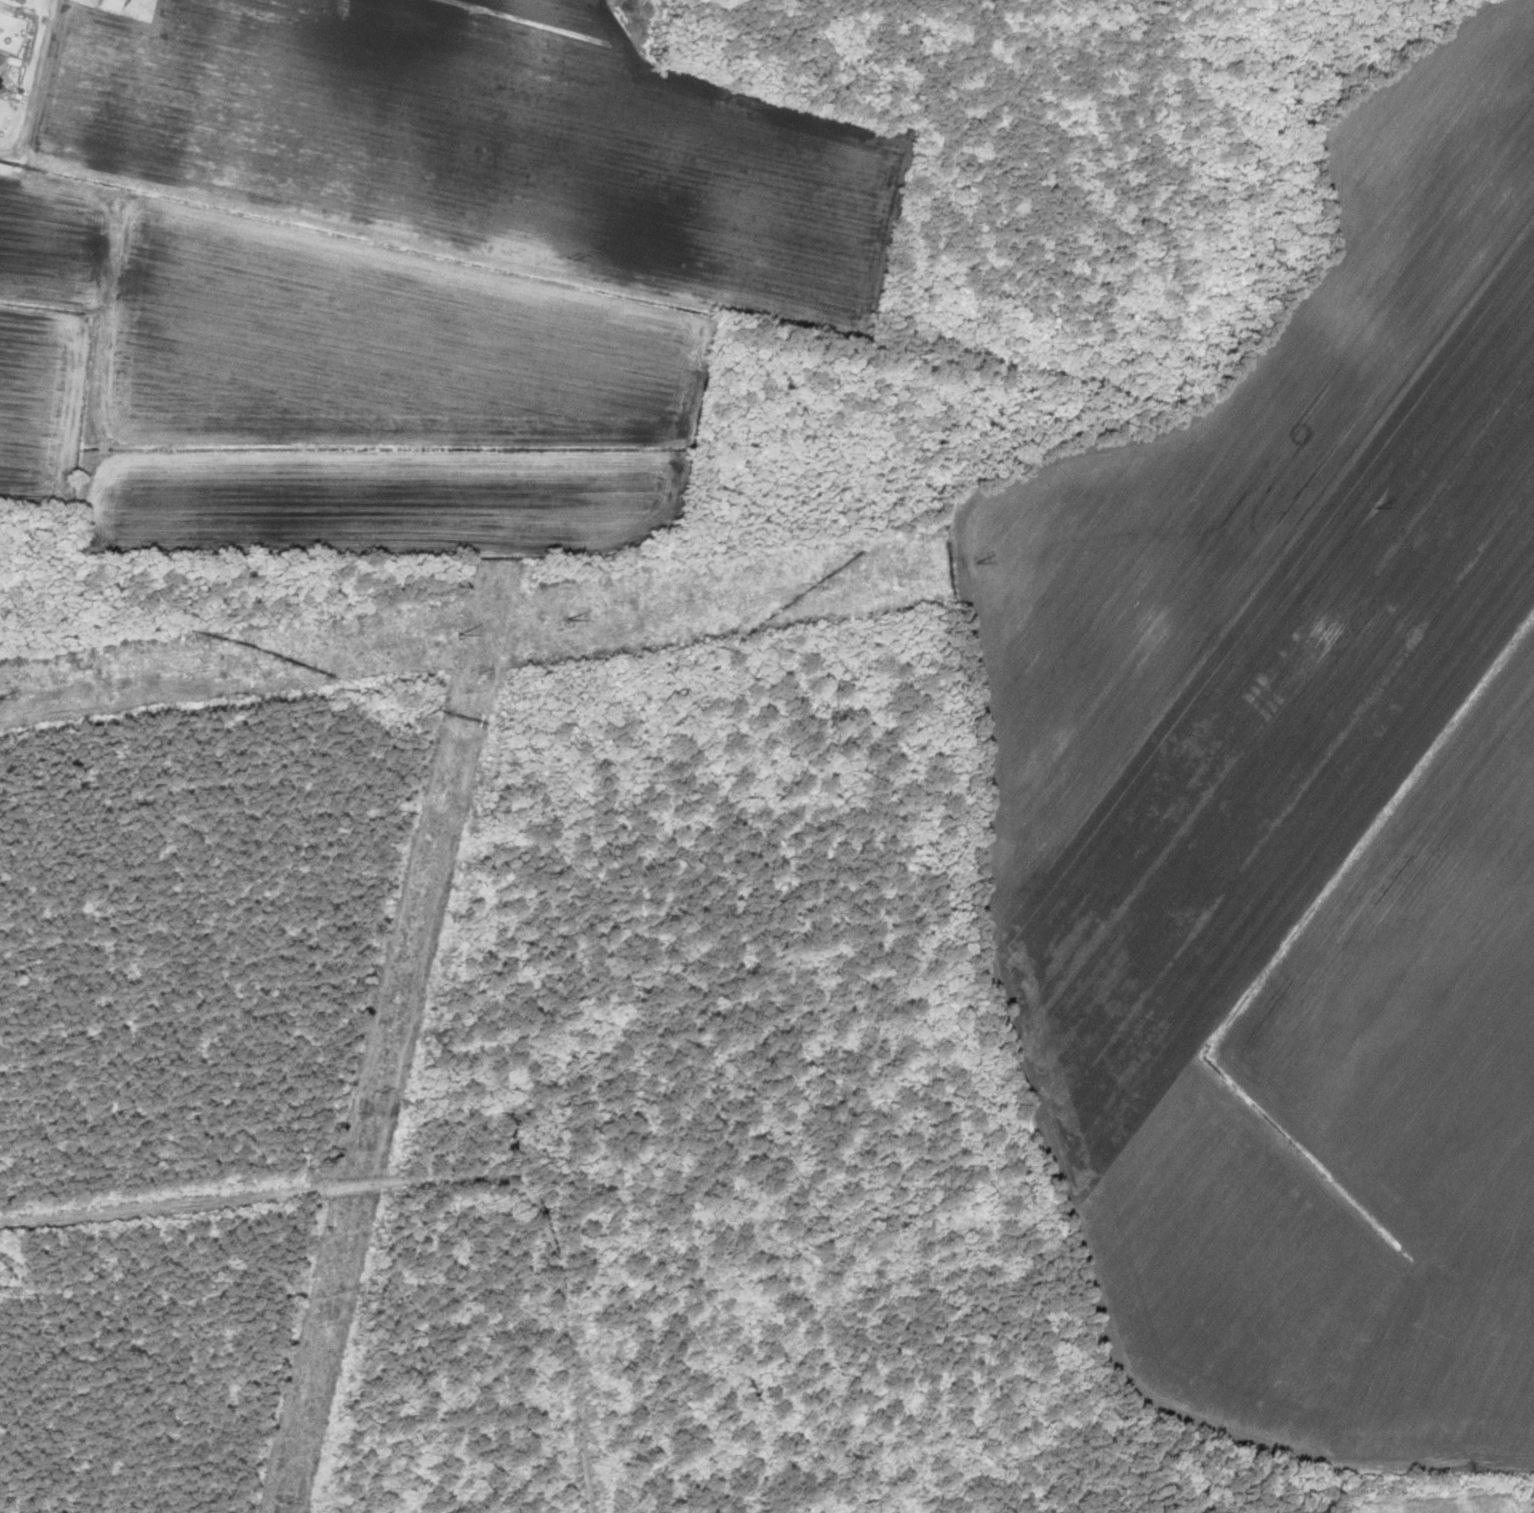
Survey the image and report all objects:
building: (21, 0)
building: (111, 4)
power tower: (571, 260)
power tower: (1376, 506)
power tower: (979, 562)
power tower: (568, 617)
power tower: (459, 633)
power tower: (471, 672)
power tower: (372, 1089)
power tower: (282, 1499)

